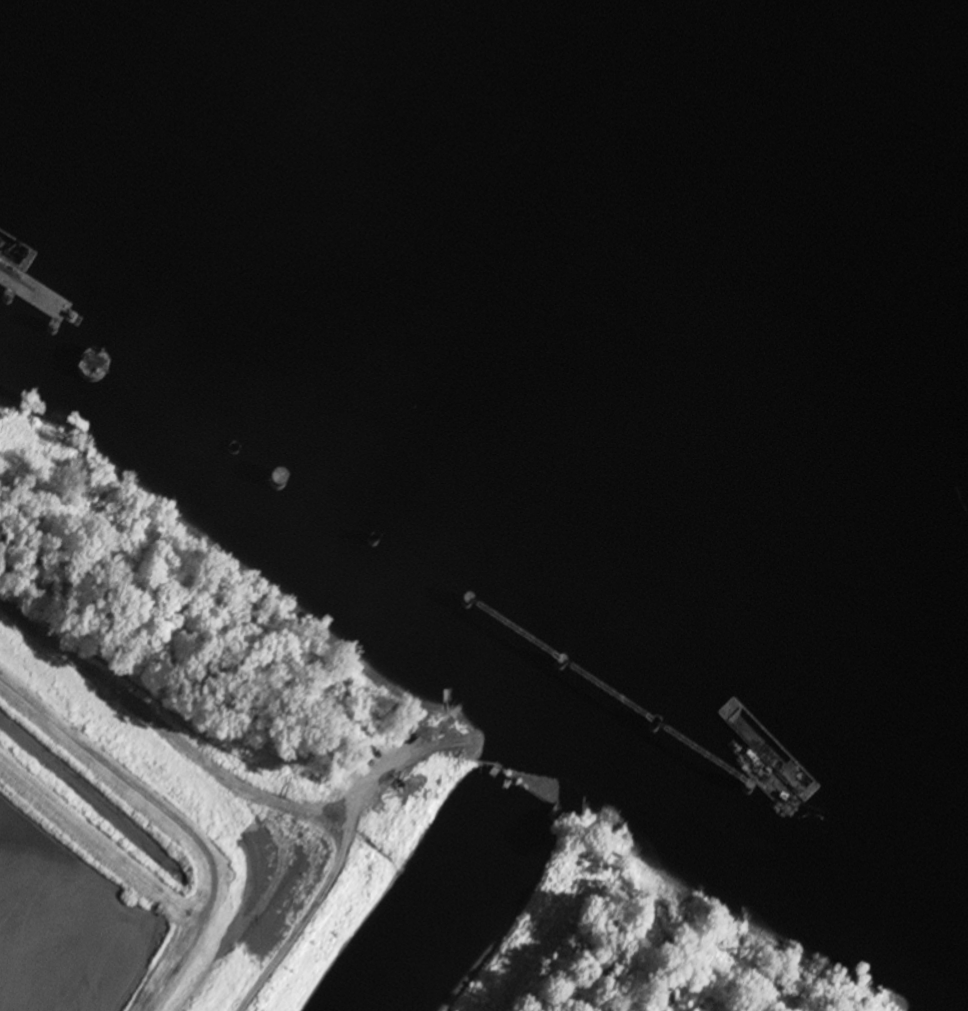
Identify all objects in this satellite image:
building: (98, 371)

